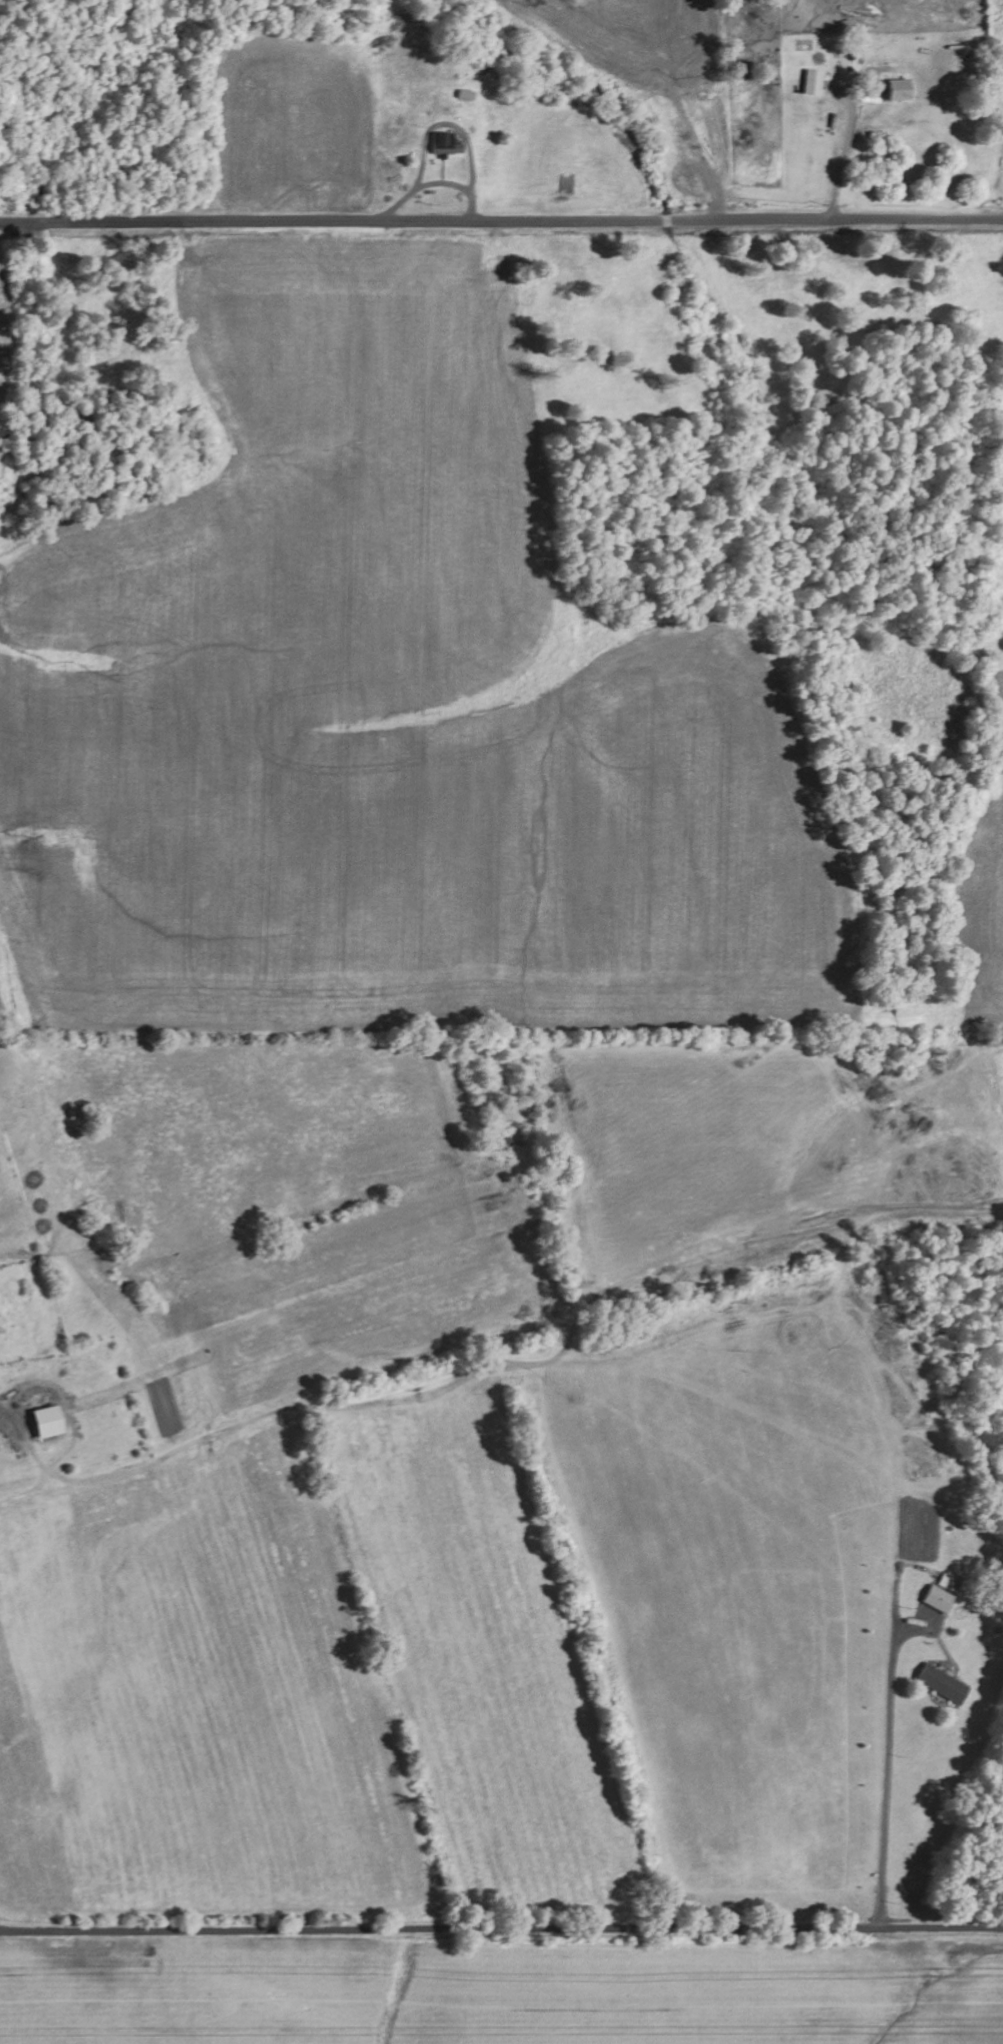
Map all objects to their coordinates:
building: (812, 82)
building: (898, 89)
building: (442, 143)
road: (501, 220)
building: (43, 1421)
building: (937, 1599)
building: (941, 1683)
road: (501, 1928)

